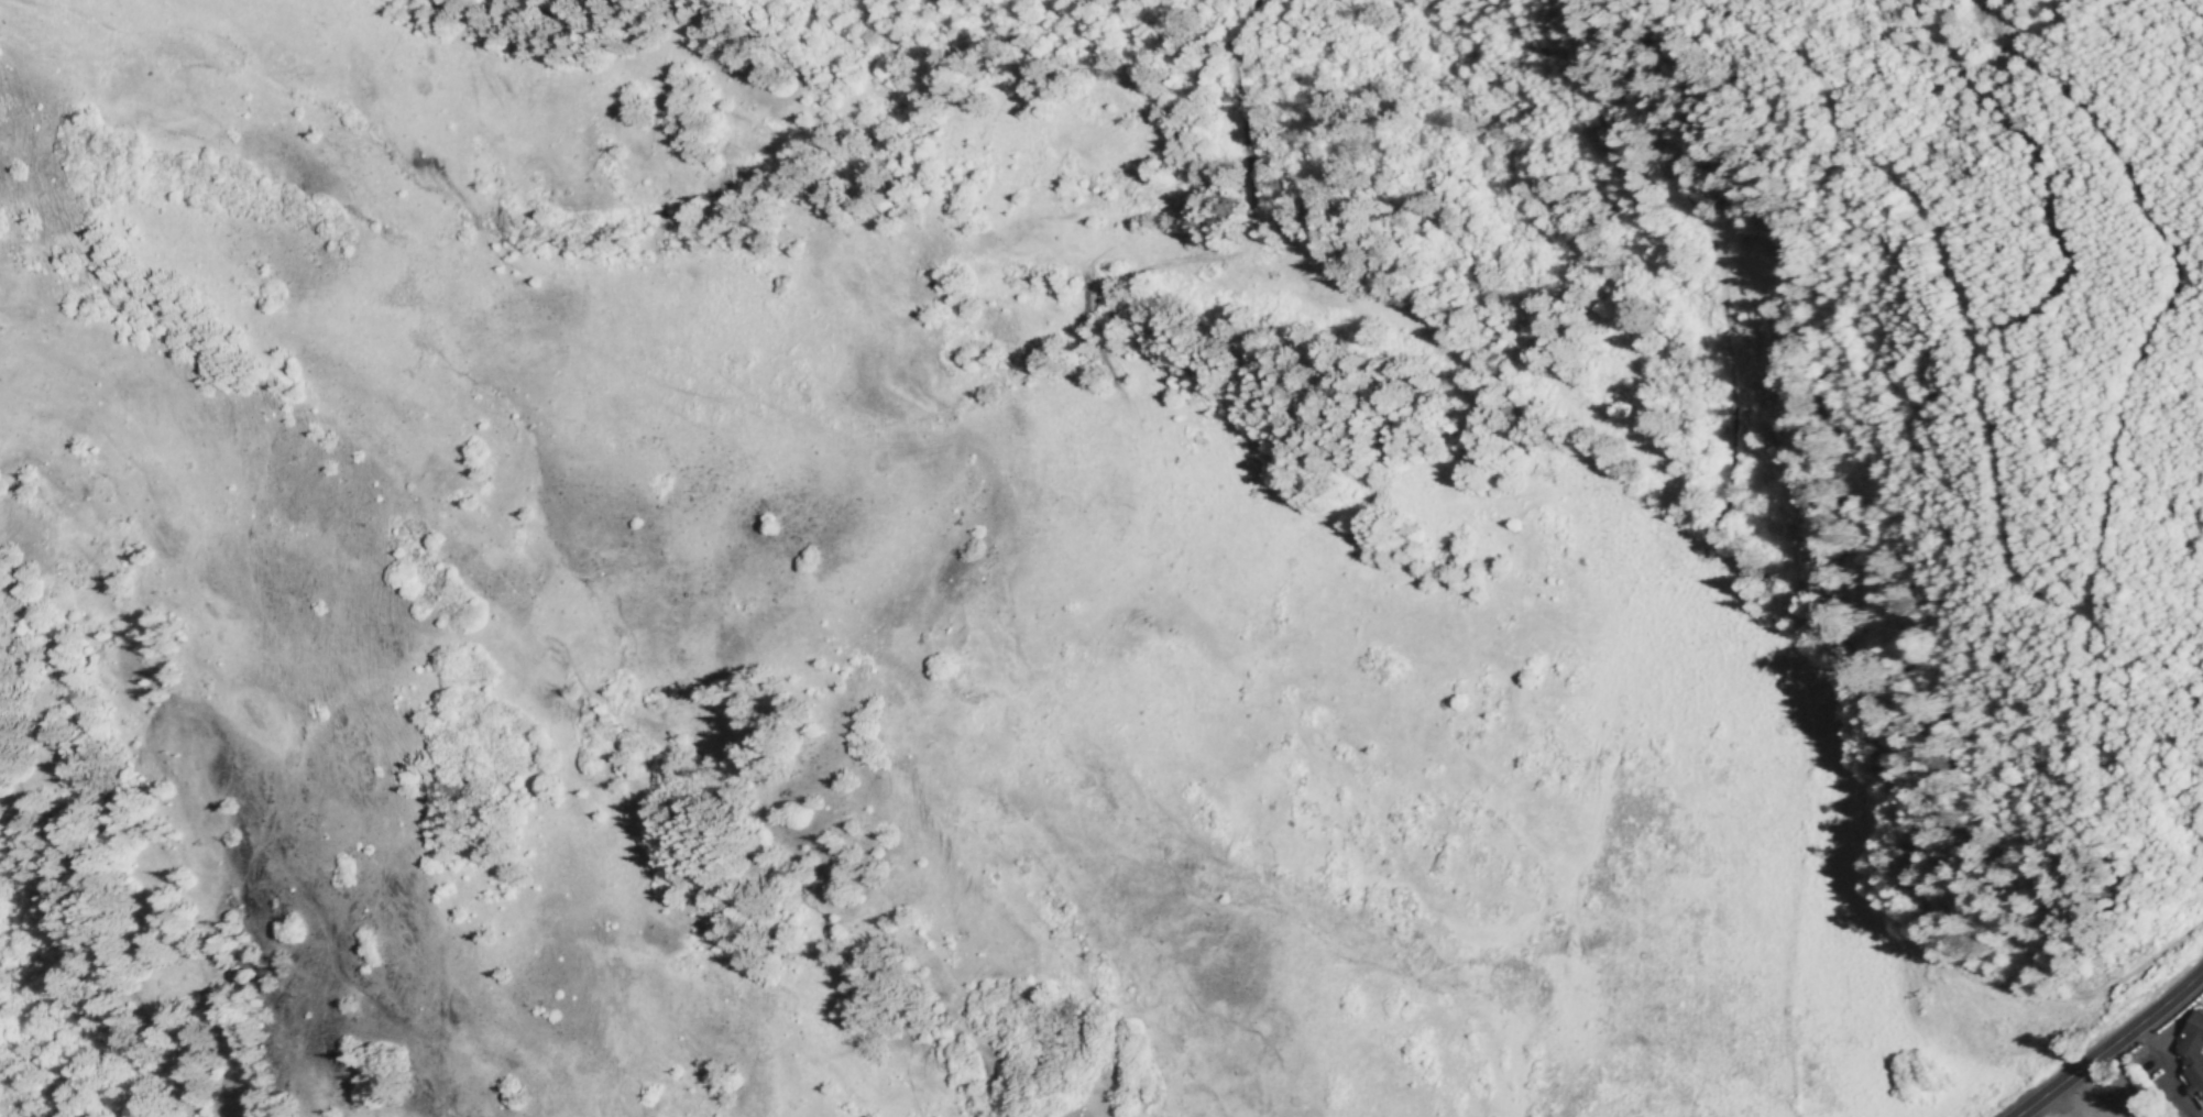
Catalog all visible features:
road: (2112, 1048)
building: (2193, 1053)

